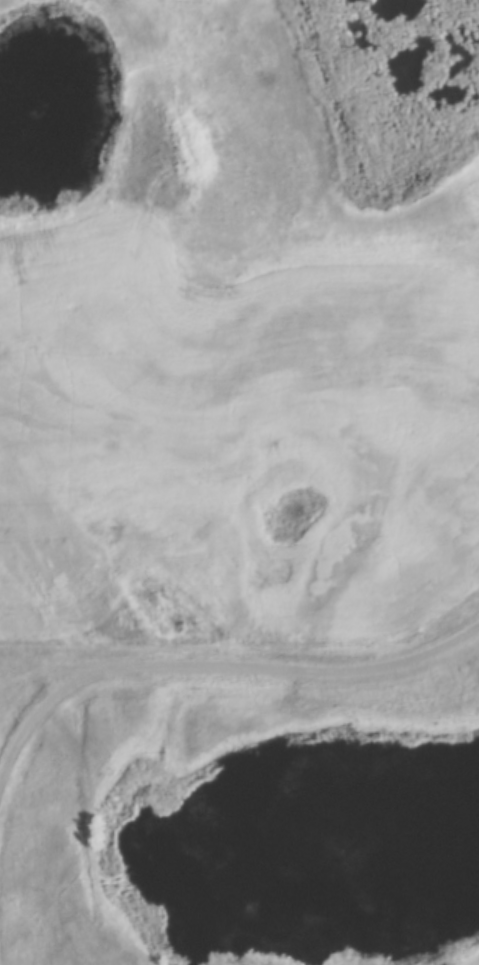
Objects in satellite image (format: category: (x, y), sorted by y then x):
road: (253, 666)
road: (15, 752)

